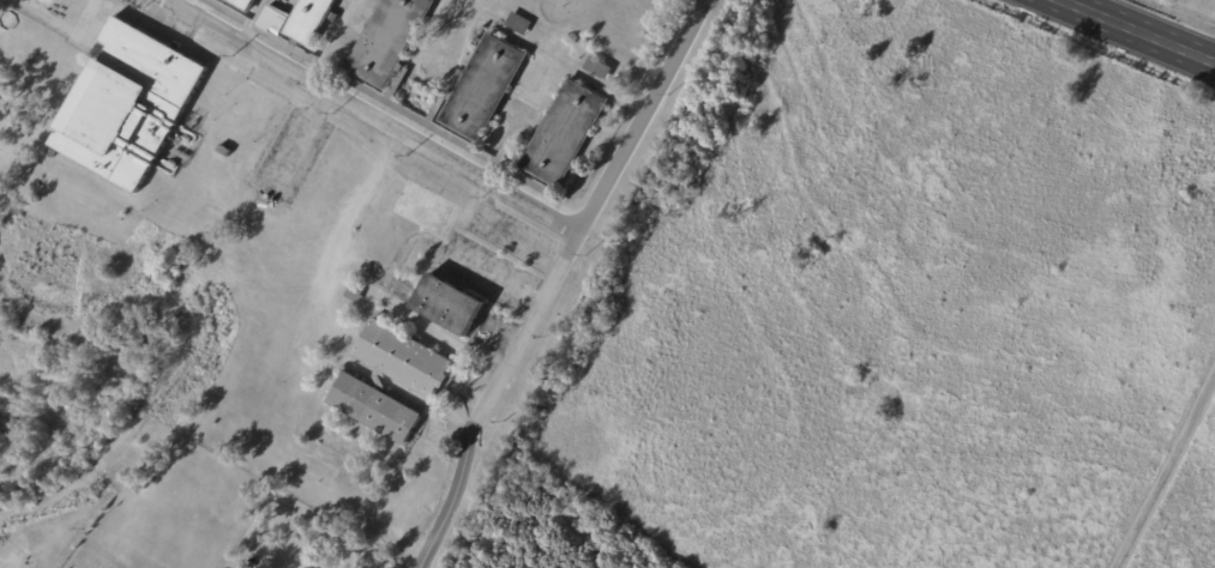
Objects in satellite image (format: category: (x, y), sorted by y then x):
building: (241, 5)
building: (224, 12)
building: (273, 19)
building: (519, 24)
building: (302, 29)
road: (1138, 30)
building: (572, 54)
building: (599, 70)
building: (479, 97)
building: (128, 104)
road: (373, 115)
building: (224, 153)
building: (107, 212)
building: (121, 219)
road: (507, 229)
road: (553, 278)
building: (356, 294)
park: (886, 314)
building: (405, 359)
road: (116, 445)
road: (1167, 471)

